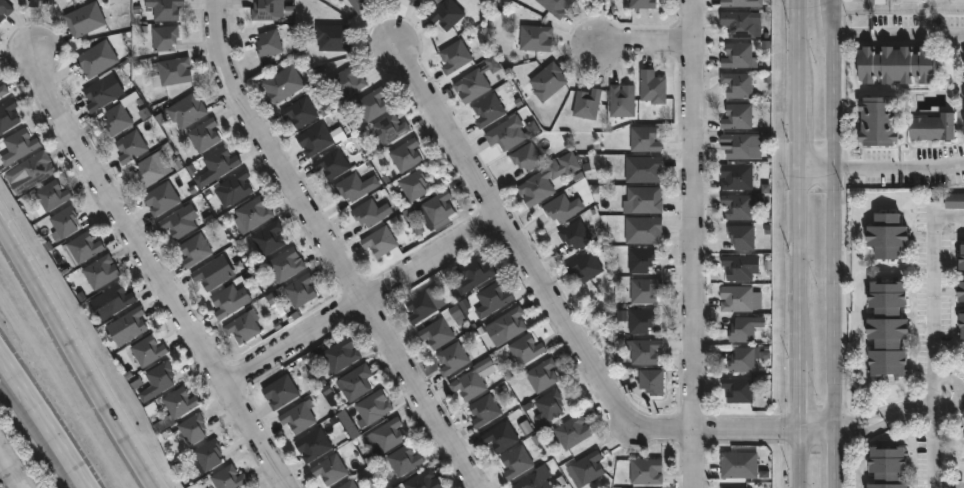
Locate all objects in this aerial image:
building: (47, 2)
building: (413, 2)
building: (32, 3)
building: (740, 3)
road: (867, 3)
building: (643, 4)
building: (359, 5)
building: (556, 6)
building: (4, 8)
building: (165, 9)
building: (263, 10)
building: (446, 14)
building: (84, 19)
building: (739, 23)
building: (332, 37)
building: (535, 37)
building: (164, 38)
road: (899, 39)
road: (643, 41)
building: (268, 44)
building: (738, 55)
building: (454, 56)
building: (96, 58)
building: (897, 65)
building: (175, 71)
building: (476, 81)
building: (547, 81)
building: (346, 82)
building: (282, 84)
building: (737, 84)
building: (653, 87)
building: (2, 90)
building: (102, 92)
building: (622, 101)
building: (372, 104)
building: (587, 104)
building: (488, 110)
building: (185, 111)
building: (299, 112)
building: (120, 114)
building: (7, 115)
building: (737, 117)
building: (878, 122)
building: (933, 127)
building: (390, 128)
building: (506, 133)
building: (204, 135)
building: (315, 139)
building: (645, 140)
building: (17, 146)
building: (129, 146)
building: (737, 146)
building: (405, 155)
building: (526, 157)
building: (220, 162)
building: (332, 163)
building: (644, 170)
building: (30, 171)
building: (148, 171)
road: (883, 174)
building: (736, 177)
building: (547, 179)
building: (413, 185)
building: (235, 187)
building: (350, 188)
building: (50, 196)
building: (160, 199)
building: (643, 201)
building: (954, 202)
building: (437, 207)
building: (739, 207)
building: (562, 208)
building: (367, 213)
building: (252, 214)
building: (180, 222)
building: (62, 224)
building: (643, 230)
building: (574, 234)
building: (887, 236)
building: (741, 237)
building: (268, 239)
road: (10, 242)
building: (379, 242)
road: (693, 243)
road: (803, 243)
road: (838, 243)
building: (83, 247)
road: (332, 248)
building: (195, 250)
building: (962, 258)
building: (640, 260)
building: (285, 265)
building: (585, 266)
building: (738, 268)
road: (160, 270)
building: (97, 273)
building: (209, 275)
building: (473, 275)
building: (300, 291)
building: (644, 291)
building: (961, 292)
road: (362, 298)
building: (115, 299)
building: (740, 299)
building: (492, 300)
building: (228, 301)
building: (422, 306)
road: (553, 313)
building: (641, 320)
building: (130, 323)
building: (510, 323)
building: (962, 326)
building: (242, 327)
building: (742, 330)
building: (887, 331)
building: (436, 333)
building: (526, 348)
building: (146, 349)
building: (644, 350)
road: (938, 350)
building: (340, 354)
building: (451, 358)
building: (743, 359)
road: (87, 374)
building: (542, 374)
building: (157, 380)
building: (652, 380)
building: (355, 381)
building: (468, 384)
building: (738, 389)
building: (280, 391)
building: (550, 403)
building: (373, 406)
building: (174, 407)
building: (484, 410)
building: (298, 415)
road: (47, 420)
road: (871, 424)
building: (192, 427)
building: (572, 431)
building: (385, 435)
building: (501, 436)
building: (313, 444)
building: (207, 453)
building: (404, 459)
building: (516, 461)
building: (739, 465)
building: (887, 465)
building: (588, 467)
building: (330, 468)
building: (646, 471)
road: (936, 471)
building: (228, 477)
road: (4, 481)
building: (421, 481)
building: (533, 481)
building: (348, 484)
building: (732, 487)

